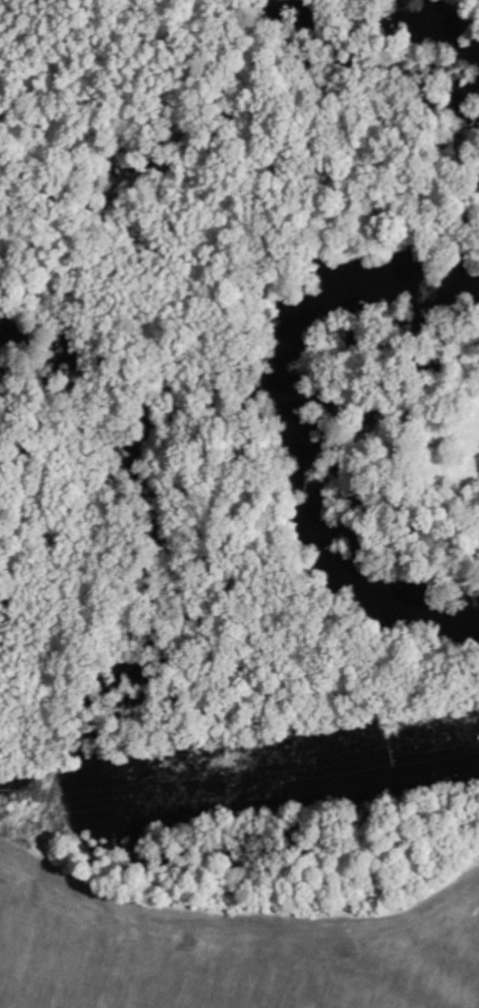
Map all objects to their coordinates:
river: (451, 27)
river: (297, 423)
power tower: (397, 754)

